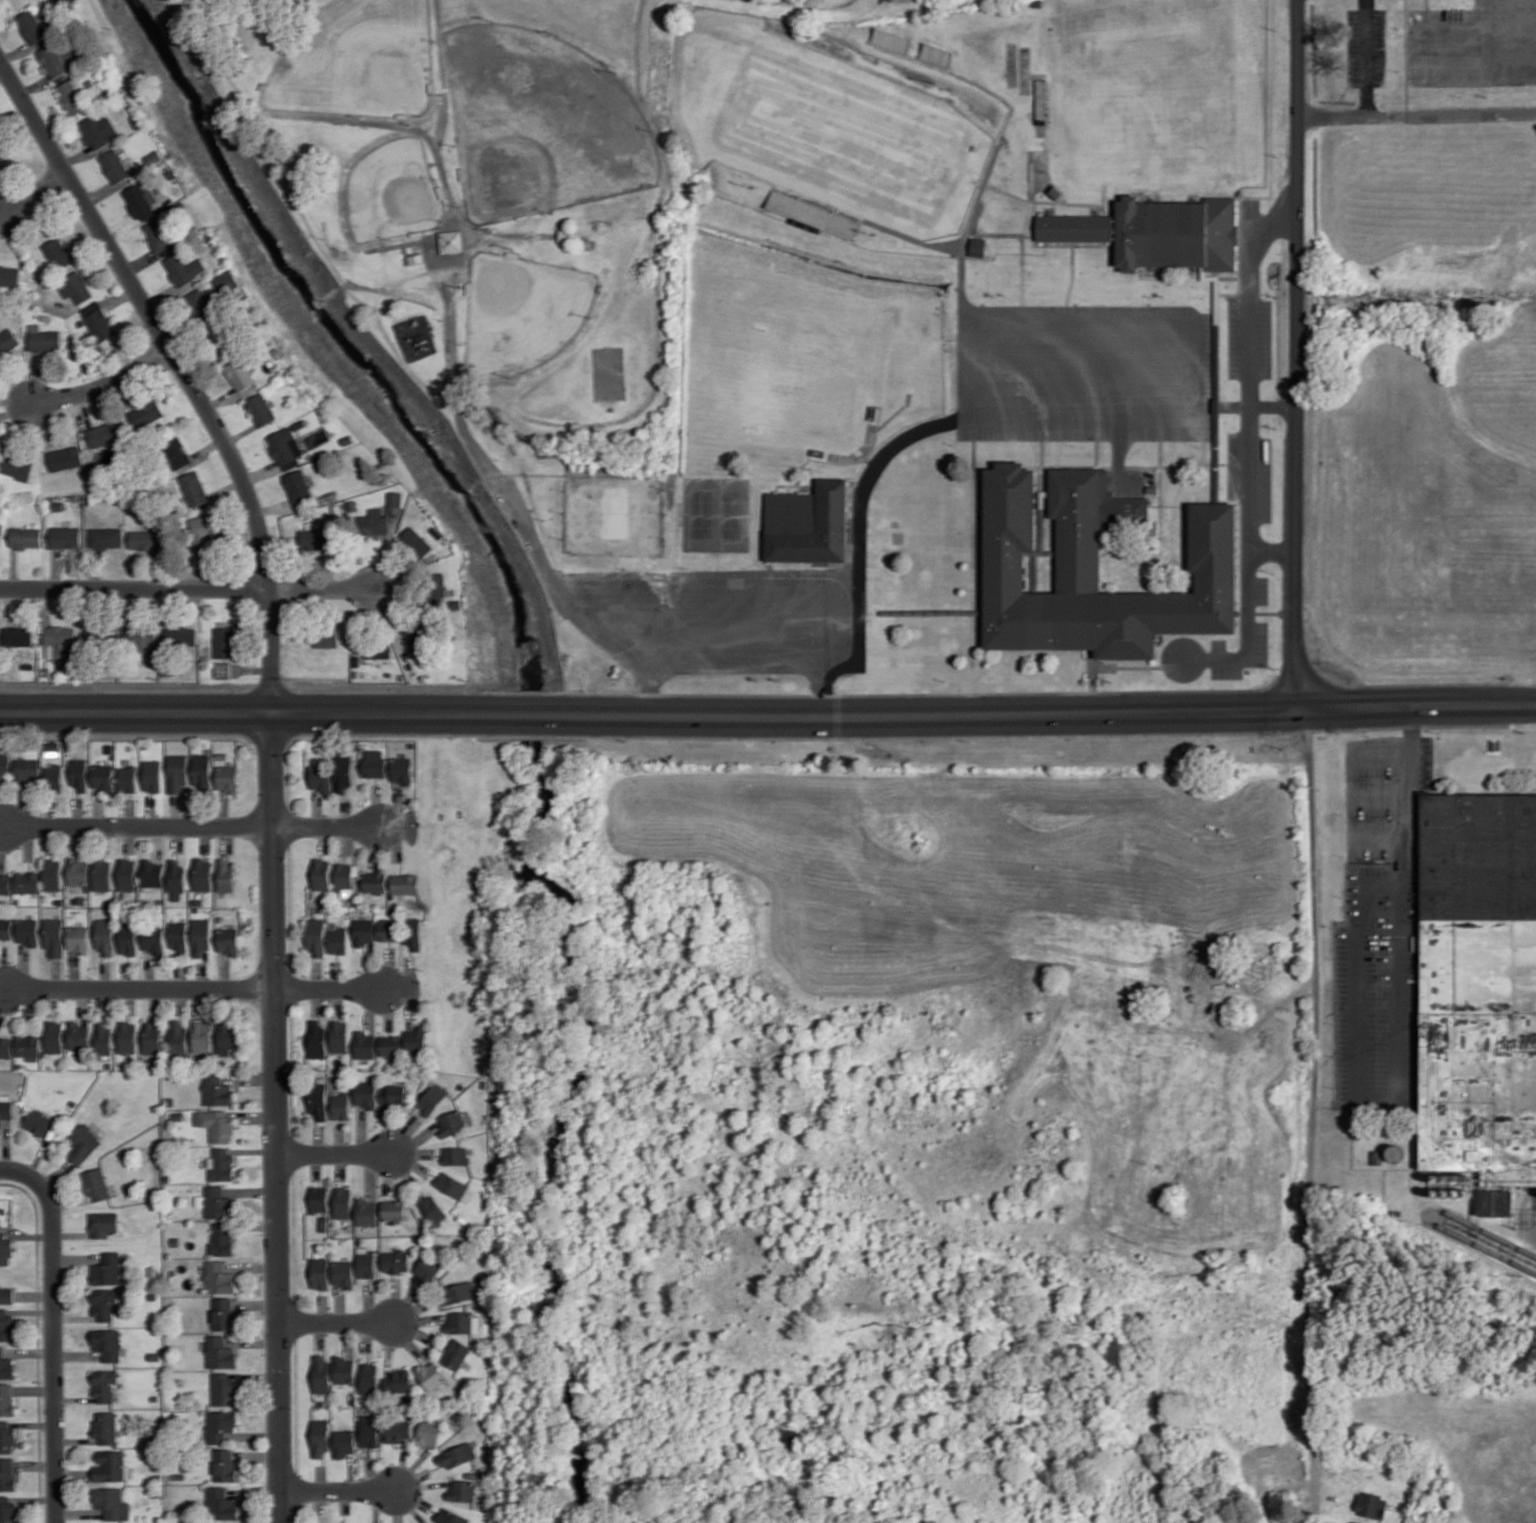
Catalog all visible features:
building: (62, 2)
building: (32, 26)
road: (1484, 33)
building: (936, 55)
road: (1365, 56)
building: (56, 60)
park: (362, 61)
road: (35, 83)
street lamp: (33, 95)
park: (1153, 95)
building: (72, 96)
street lamp: (1461, 96)
building: (1040, 101)
road: (1415, 110)
park: (544, 126)
building: (98, 130)
park: (845, 134)
building: (3, 146)
building: (153, 158)
building: (114, 166)
street lamp: (755, 185)
park: (378, 186)
road: (35, 194)
building: (141, 201)
road: (1, 211)
building: (813, 214)
building: (1157, 232)
street lamp: (877, 234)
building: (158, 235)
building: (978, 246)
building: (57, 253)
building: (184, 268)
building: (9, 276)
building: (226, 282)
building: (75, 287)
road: (1250, 290)
building: (200, 304)
park: (524, 314)
building: (98, 321)
park: (417, 331)
building: (43, 339)
building: (8, 341)
road: (1083, 347)
road: (1296, 353)
river: (373, 369)
parking lot: (1084, 371)
building: (240, 374)
road: (36, 377)
park: (807, 377)
road: (104, 385)
road: (1083, 387)
road: (16, 409)
building: (260, 409)
building: (146, 413)
road: (1192, 420)
building: (105, 433)
building: (349, 439)
road: (209, 446)
building: (285, 448)
building: (175, 453)
building: (65, 458)
building: (17, 467)
road: (261, 472)
road: (1251, 476)
road: (867, 479)
building: (297, 486)
building: (395, 495)
park: (613, 516)
park: (717, 518)
building: (373, 522)
building: (808, 523)
building: (203, 530)
building: (439, 531)
building: (0, 534)
building: (25, 537)
building: (65, 537)
building: (106, 537)
building: (144, 539)
building: (317, 539)
building: (416, 542)
building: (1095, 568)
road: (733, 579)
road: (135, 589)
road: (324, 589)
building: (435, 589)
road: (1250, 632)
building: (17, 635)
building: (180, 637)
building: (323, 638)
building: (58, 641)
building: (140, 641)
building: (224, 642)
road: (645, 645)
road: (824, 646)
building: (378, 649)
road: (256, 706)
road: (1054, 710)
road: (542, 711)
road: (128, 733)
road: (1025, 733)
road: (532, 734)
road: (292, 738)
road: (1380, 755)
road: (273, 756)
parking lot: (1425, 759)
building: (5, 761)
building: (374, 763)
building: (27, 769)
building: (401, 770)
building: (342, 772)
building: (177, 773)
building: (202, 773)
building: (79, 774)
flagpole: (1445, 774)
building: (151, 775)
building: (53, 777)
building: (103, 777)
building: (227, 778)
building: (321, 778)
building: (127, 779)
road: (1379, 797)
road: (376, 804)
road: (222, 806)
road: (316, 807)
road: (397, 807)
road: (51, 808)
road: (99, 808)
road: (175, 809)
road: (199, 809)
road: (77, 811)
road: (130, 811)
road: (150, 811)
road: (346, 812)
street lamp: (1343, 813)
road: (2, 823)
road: (2, 824)
road: (139, 825)
parking lot: (411, 825)
park: (457, 825)
road: (327, 826)
street lamp: (214, 836)
road: (178, 837)
road: (227, 837)
road: (128, 838)
road: (204, 838)
road: (324, 838)
road: (1377, 838)
road: (346, 839)
road: (52, 840)
road: (393, 840)
road: (28, 841)
road: (84, 841)
road: (157, 842)
road: (2, 847)
road: (373, 847)
street lamp: (1342, 854)
building: (78, 871)
building: (321, 872)
building: (152, 873)
building: (52, 874)
building: (126, 874)
building: (202, 874)
building: (101, 875)
building: (225, 876)
building: (346, 879)
building: (176, 880)
building: (26, 882)
building: (374, 882)
building: (5, 883)
building: (405, 884)
street lamp: (1342, 896)
street lamp: (1332, 926)
building: (5, 928)
building: (389, 929)
building: (365, 930)
building: (27, 931)
building: (413, 931)
building: (105, 936)
building: (200, 936)
building: (317, 936)
building: (54, 937)
building: (179, 937)
building: (128, 938)
building: (78, 939)
building: (153, 939)
building: (339, 939)
building: (228, 941)
street lamp: (1333, 956)
road: (2, 964)
road: (370, 966)
road: (388, 967)
road: (73, 969)
road: (150, 969)
road: (224, 970)
road: (56, 973)
road: (181, 973)
road: (316, 973)
road: (336, 973)
road: (105, 974)
road: (127, 974)
road: (202, 975)
street lamp: (92, 976)
road: (404, 977)
street lamp: (422, 980)
road: (4, 984)
building: (1480, 984)
road: (4, 986)
road: (328, 987)
street lamp: (1333, 987)
road: (142, 988)
road: (4, 989)
road: (4, 993)
road: (407, 997)
road: (129, 999)
road: (180, 999)
road: (223, 999)
road: (341, 999)
road: (4, 1000)
road: (102, 1000)
road: (199, 1000)
road: (318, 1000)
road: (155, 1001)
road: (83, 1004)
road: (28, 1008)
road: (369, 1008)
road: (388, 1008)
street lamp: (1333, 1022)
building: (228, 1034)
building: (339, 1035)
building: (54, 1036)
building: (77, 1036)
building: (127, 1036)
building: (152, 1036)
building: (201, 1036)
building: (179, 1037)
building: (417, 1037)
building: (103, 1038)
building: (317, 1038)
building: (365, 1043)
building: (391, 1044)
road: (1400, 1045)
building: (5, 1047)
building: (27, 1047)
street lamp: (1334, 1054)
building: (150, 1061)
building: (397, 1061)
building: (83, 1062)
road: (249, 1078)
building: (484, 1082)
road: (238, 1085)
building: (462, 1085)
street lamp: (1334, 1086)
building: (217, 1088)
building: (366, 1092)
building: (394, 1092)
building: (318, 1098)
building: (433, 1098)
building: (171, 1100)
building: (341, 1105)
building: (6, 1107)
road: (253, 1112)
building: (178, 1114)
road: (1311, 1115)
building: (38, 1120)
building: (0, 1122)
building: (452, 1122)
building: (216, 1124)
road: (360, 1128)
road: (385, 1128)
road: (403, 1135)
road: (318, 1139)
road: (339, 1139)
road: (415, 1140)
building: (84, 1141)
road: (6, 1146)
road: (254, 1149)
road: (41, 1150)
road: (334, 1152)
road: (412, 1152)
building: (456, 1154)
road: (410, 1161)
building: (222, 1164)
road: (317, 1165)
road: (341, 1165)
street lamp: (411, 1169)
road: (387, 1171)
road: (405, 1172)
road: (57, 1173)
road: (371, 1174)
building: (167, 1177)
building: (96, 1182)
building: (451, 1183)
road: (251, 1190)
building: (319, 1197)
building: (343, 1200)
road: (71, 1201)
building: (218, 1201)
building: (432, 1207)
building: (394, 1208)
building: (4, 1209)
building: (367, 1211)
building: (171, 1213)
building: (103, 1222)
building: (324, 1222)
road: (257, 1225)
railway: (1488, 1232)
road: (31, 1234)
road: (72, 1234)
building: (222, 1238)
building: (176, 1240)
building: (360, 1240)
street lamp: (64, 1246)
railway: (1485, 1247)
building: (5, 1248)
road: (76, 1257)
building: (396, 1260)
building: (367, 1263)
road: (252, 1265)
building: (108, 1267)
building: (429, 1267)
building: (321, 1272)
building: (344, 1272)
building: (174, 1274)
building: (219, 1276)
building: (457, 1291)
building: (6, 1294)
road: (34, 1294)
building: (153, 1295)
road: (395, 1298)
road: (408, 1299)
building: (104, 1302)
road: (339, 1302)
road: (369, 1302)
road: (257, 1303)
road: (322, 1308)
road: (414, 1308)
road: (31, 1310)
building: (223, 1312)
road: (75, 1317)
road: (421, 1319)
road: (337, 1321)
building: (461, 1321)
building: (6, 1324)
street lamp: (420, 1326)
road: (53, 1329)
road: (414, 1329)
road: (366, 1335)
road: (319, 1336)
road: (348, 1338)
road: (39, 1340)
road: (253, 1340)
building: (109, 1342)
road: (410, 1342)
flagpole: (87, 1345)
road: (297, 1346)
road: (389, 1347)
road: (30, 1351)
building: (220, 1352)
building: (457, 1352)
road: (78, 1354)
building: (155, 1355)
road: (16, 1358)
building: (6, 1365)
building: (344, 1369)
building: (322, 1373)
building: (431, 1374)
road: (257, 1375)
building: (370, 1377)
building: (399, 1380)
street lamp: (43, 1381)
building: (105, 1383)
building: (224, 1387)
road: (34, 1389)
building: (354, 1397)
road: (18, 1398)
road: (75, 1398)
building: (6, 1399)
building: (321, 1402)
building: (475, 1408)
building: (376, 1409)
road: (34, 1423)
building: (221, 1424)
building: (106, 1426)
road: (239, 1427)
building: (370, 1428)
road: (19, 1429)
building: (398, 1429)
building: (429, 1431)
road: (253, 1435)
building: (7, 1436)
building: (320, 1438)
road: (77, 1439)
building: (344, 1441)
road: (258, 1454)
building: (458, 1454)
road: (402, 1463)
road: (34, 1464)
building: (225, 1464)
building: (112, 1465)
road: (413, 1466)
road: (351, 1471)
road: (370, 1472)
building: (7, 1473)
road: (19, 1473)
road: (74, 1473)
building: (158, 1476)
road: (322, 1477)
road: (414, 1479)
road: (424, 1484)
building: (463, 1489)
road: (339, 1490)
building: (156, 1492)
road: (255, 1492)
street lamp: (423, 1494)
road: (34, 1498)
road: (414, 1498)
building: (110, 1500)
road: (241, 1500)
road: (346, 1500)
road: (320, 1501)
building: (222, 1502)
building: (1371, 1504)
road: (376, 1505)
road: (398, 1506)
road: (411, 1506)
building: (7, 1509)
road: (80, 1511)
building: (452, 1516)
street lamp: (67, 1520)
building: (326, 1522)
building: (343, 1522)

